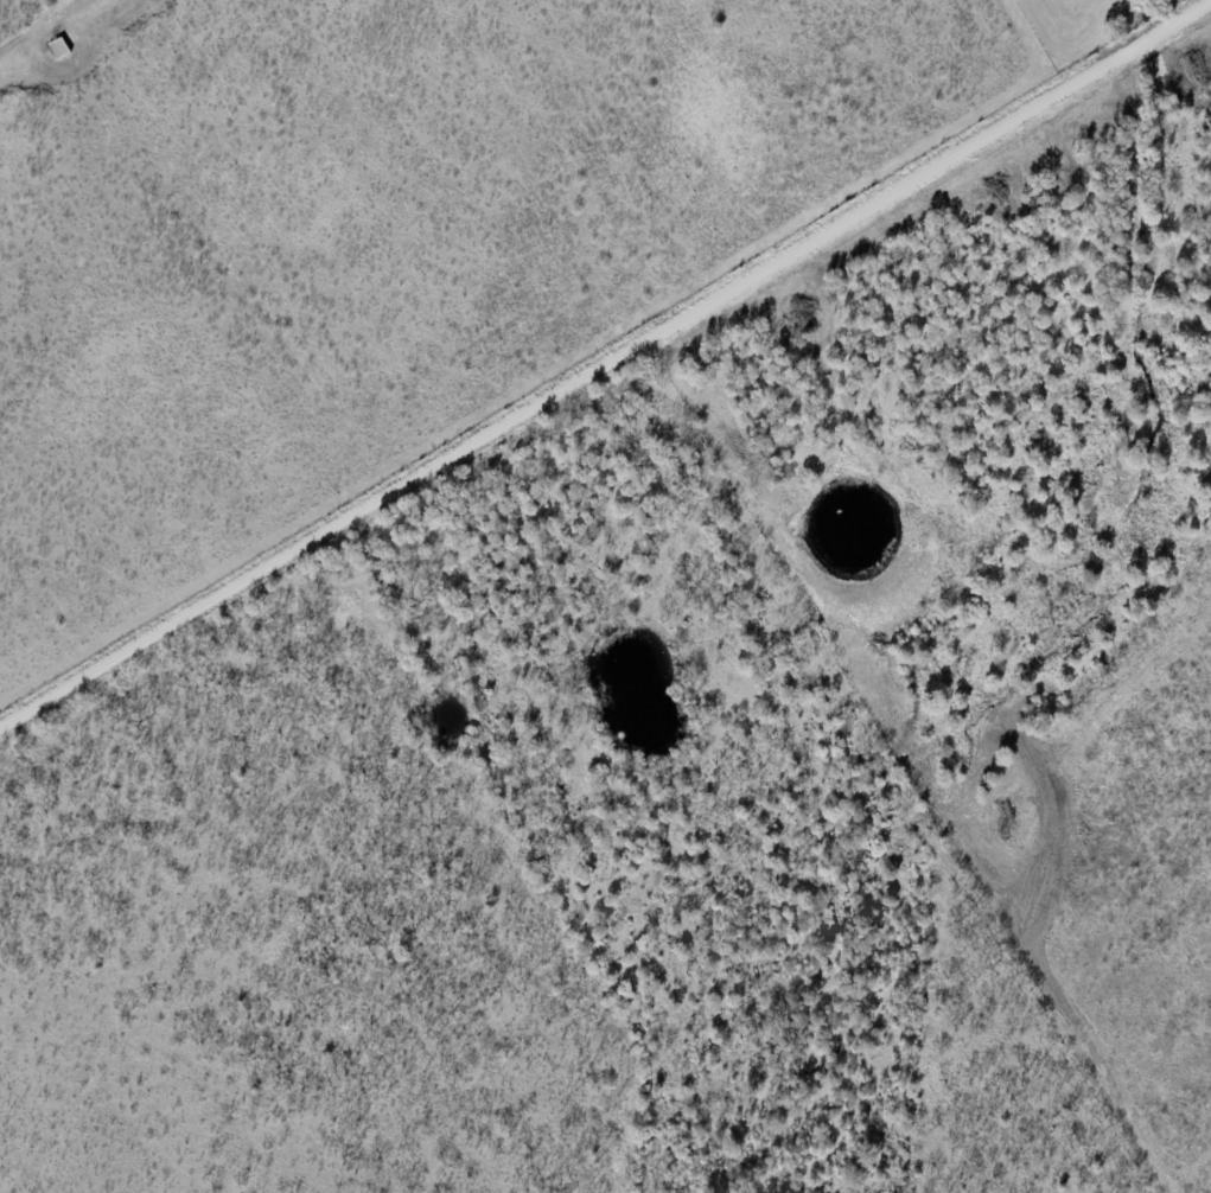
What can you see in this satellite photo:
road: (604, 369)

